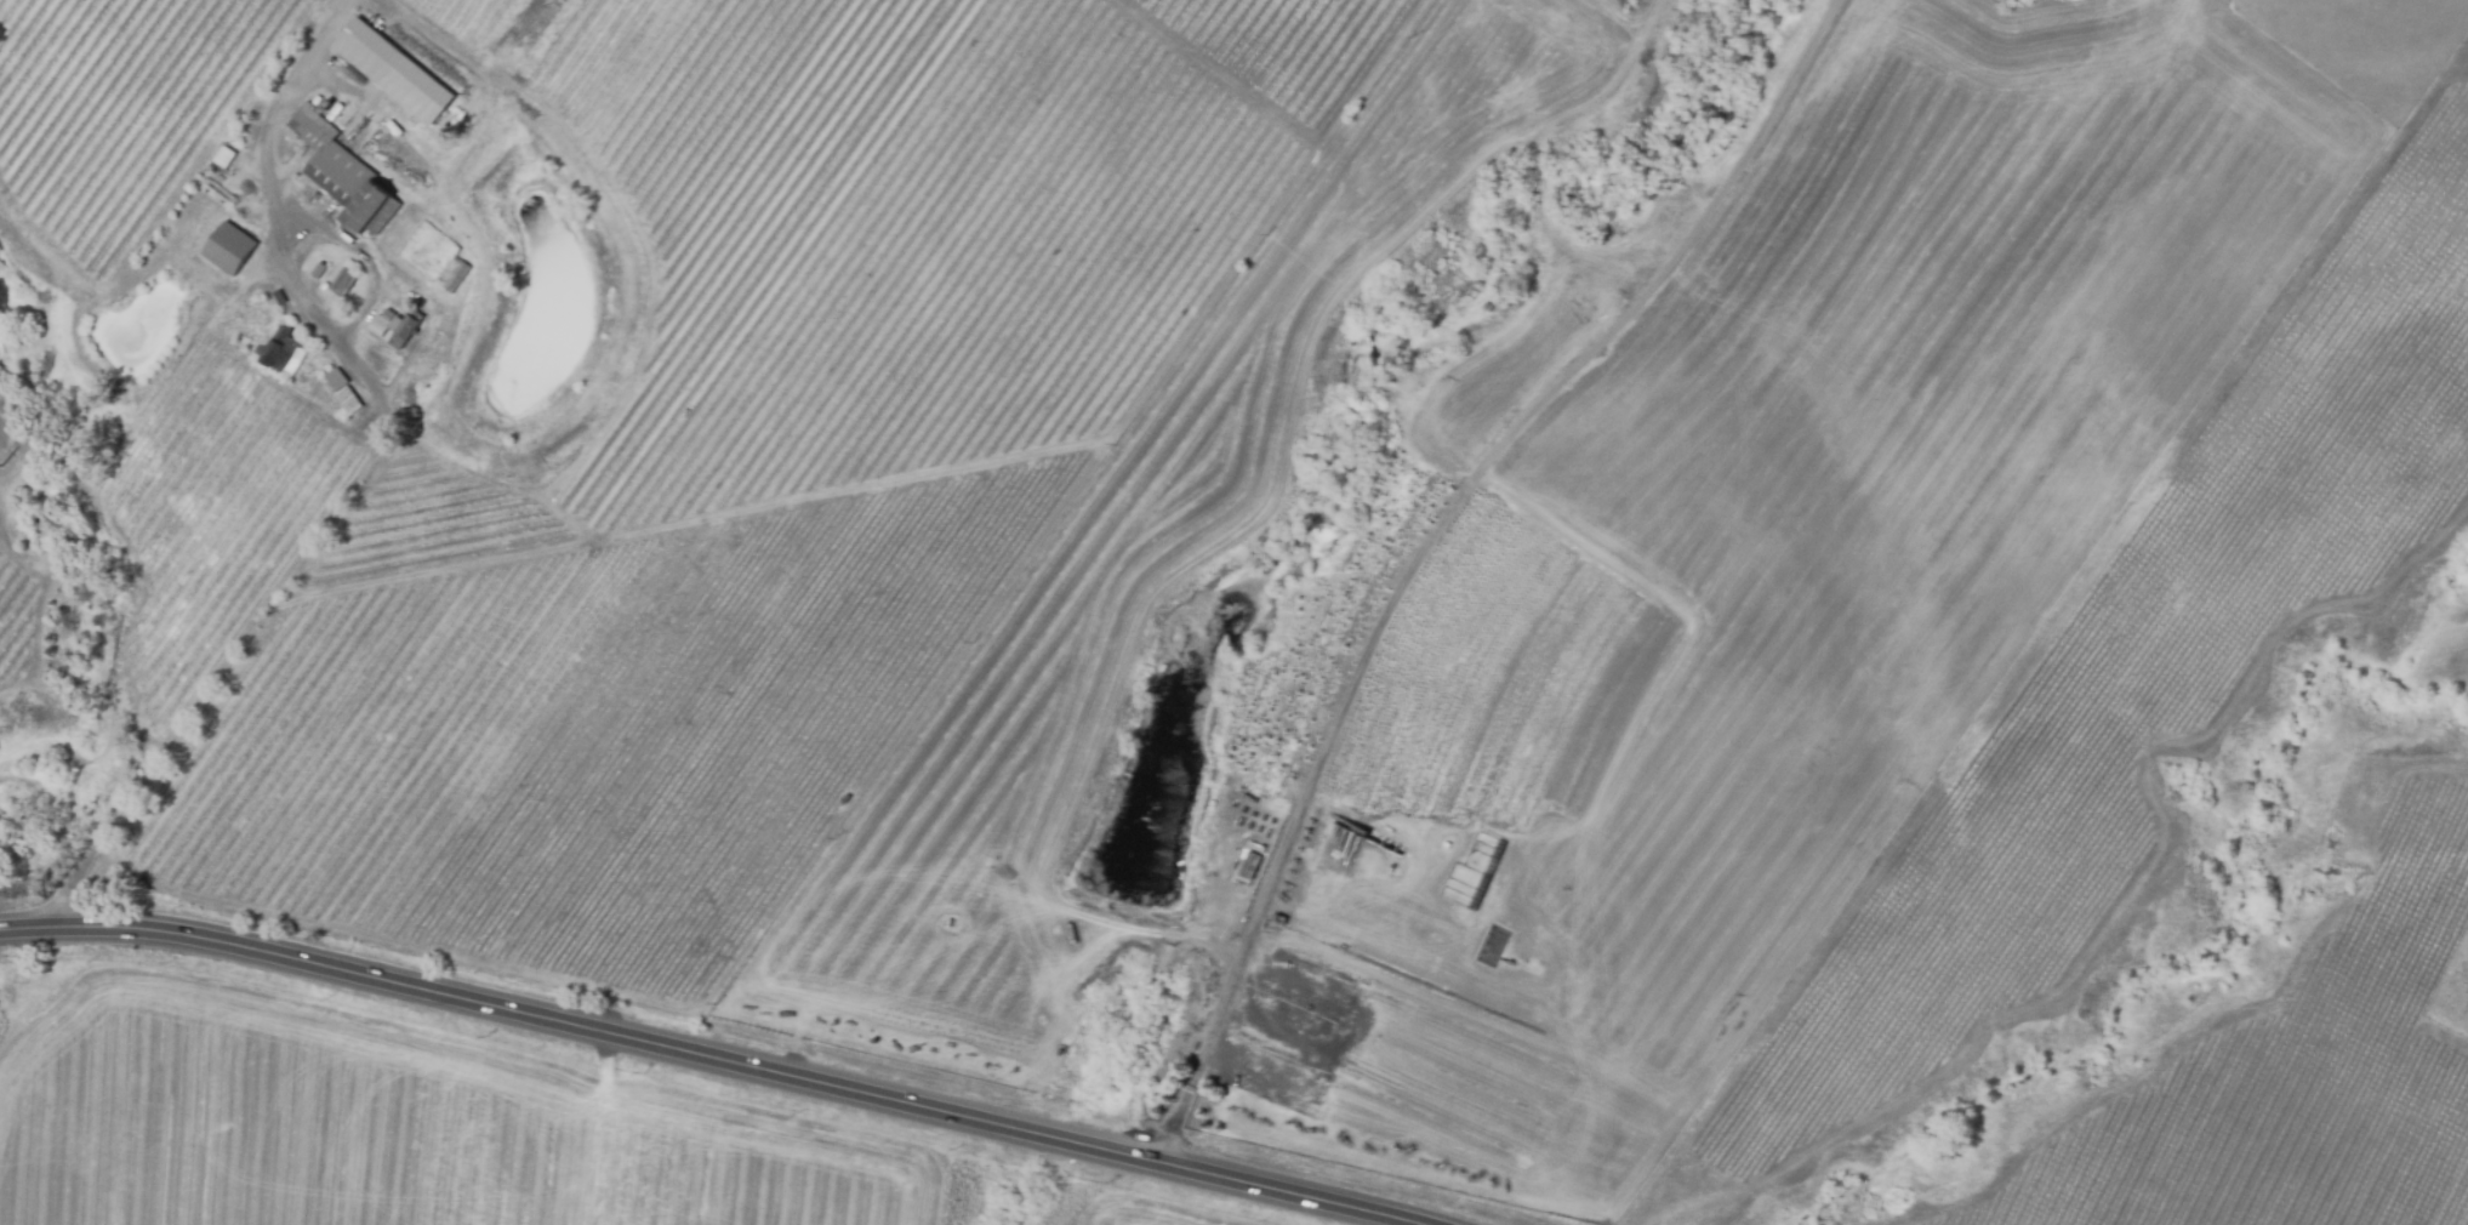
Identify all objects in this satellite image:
building: (391, 78)
building: (342, 172)
building: (230, 247)
road: (283, 257)
building: (315, 266)
building: (454, 274)
building: (344, 278)
building: (389, 313)
building: (380, 325)
building: (406, 329)
building: (280, 348)
building: (315, 358)
building: (344, 389)
road: (1429, 539)
road: (213, 679)
road: (720, 1053)

